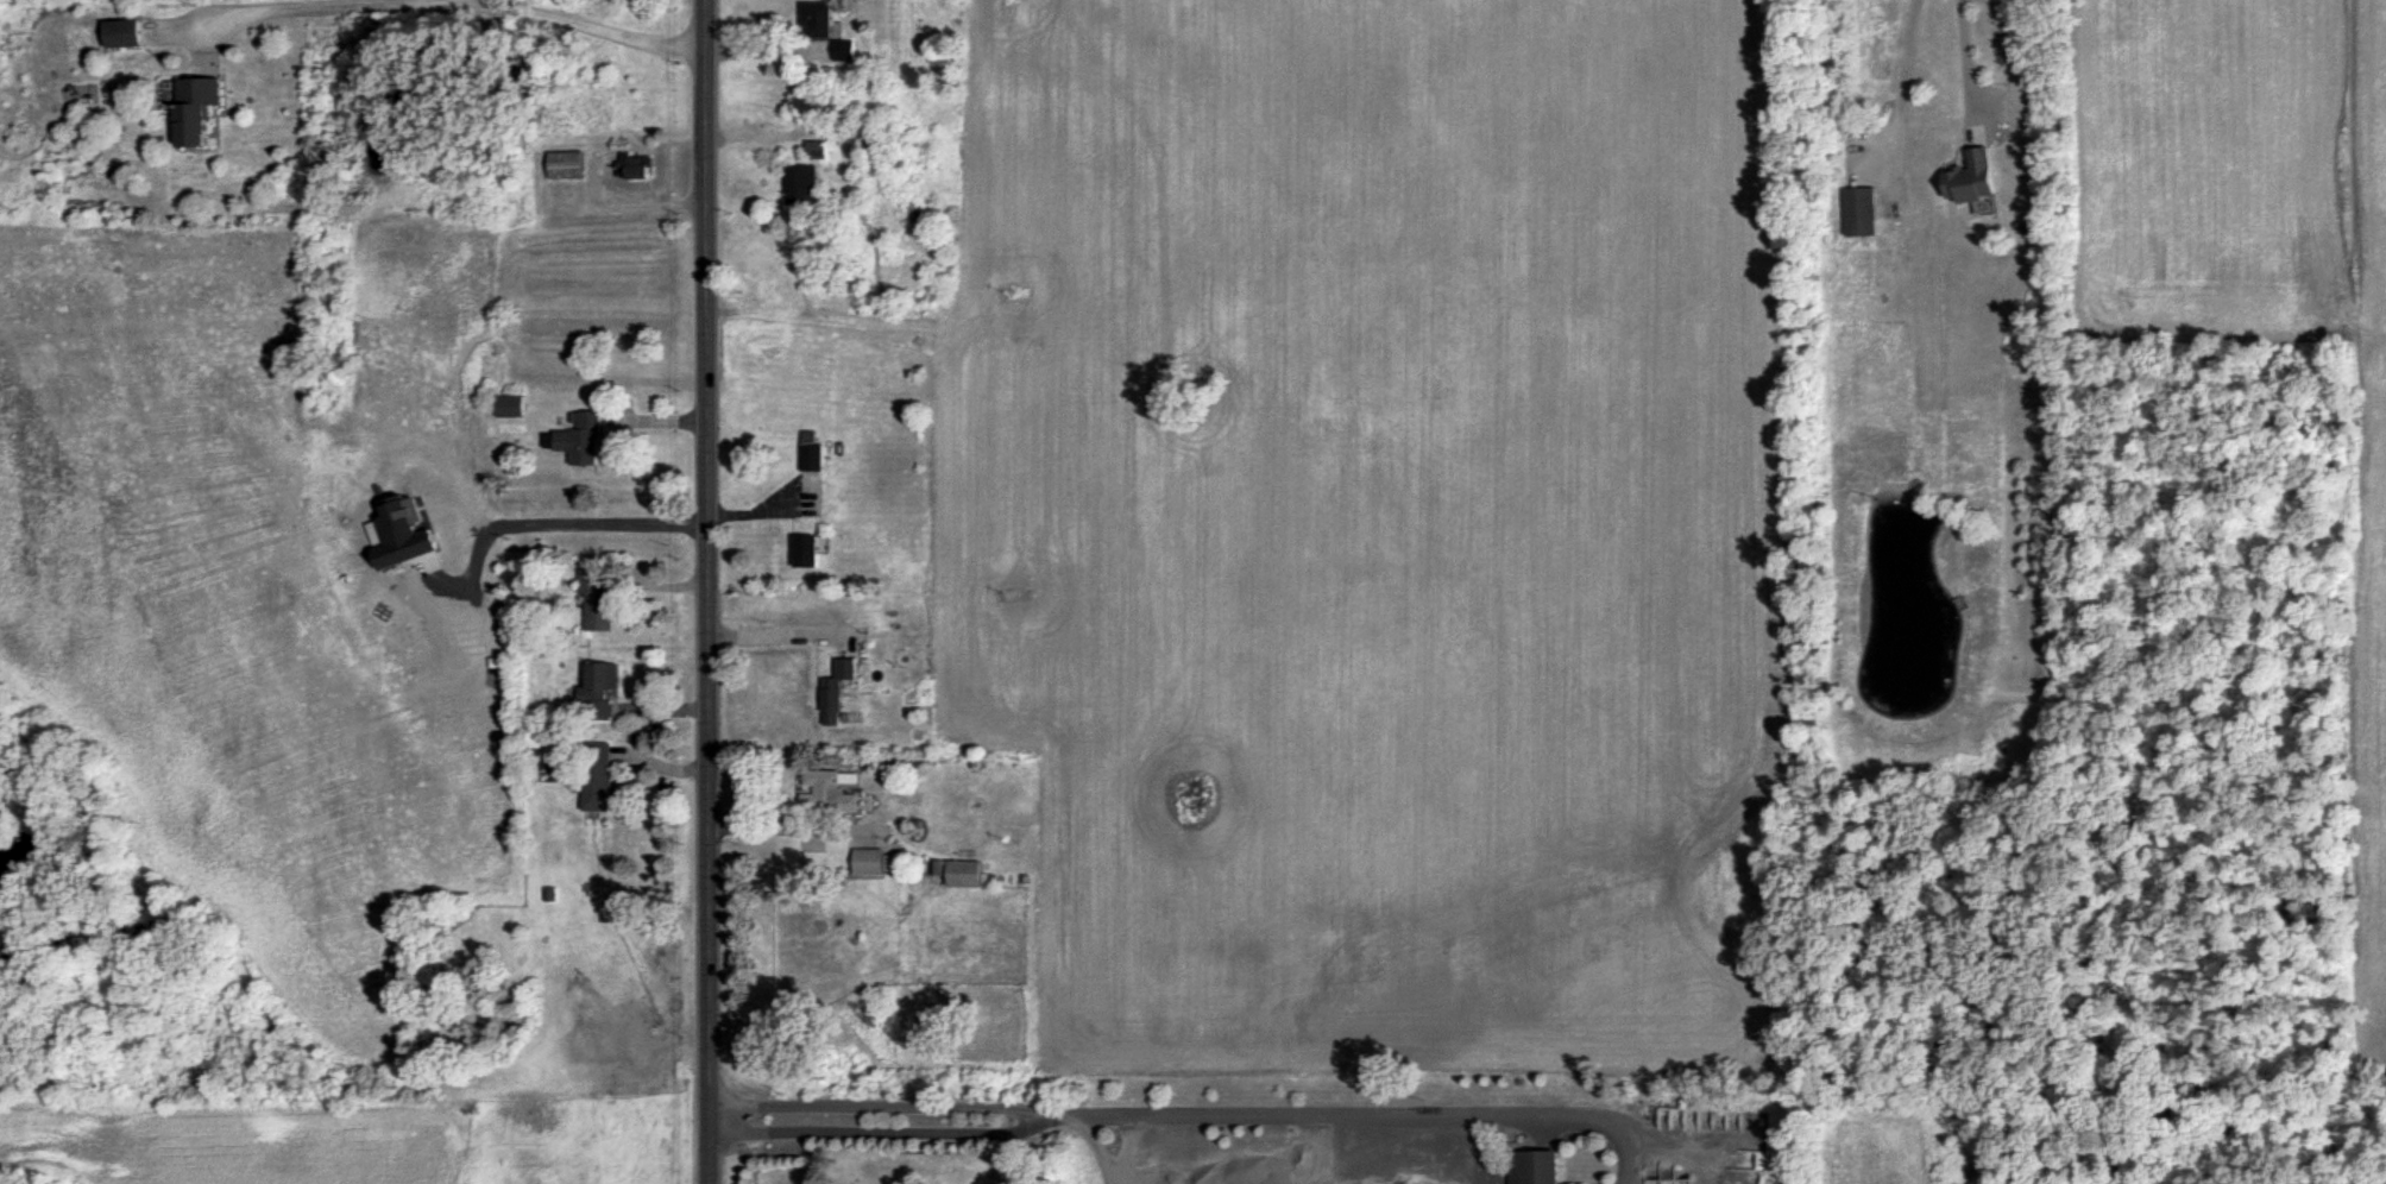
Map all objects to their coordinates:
road: (461, 6)
building: (817, 18)
building: (122, 32)
building: (844, 49)
road: (1965, 64)
road: (1900, 93)
building: (819, 105)
building: (195, 107)
building: (817, 149)
crop: (2203, 163)
building: (566, 164)
building: (634, 165)
building: (1971, 177)
building: (801, 184)
building: (1859, 210)
building: (510, 404)
building: (578, 439)
building: (810, 451)
crop: (1371, 525)
building: (806, 550)
crop: (2372, 552)
road: (710, 591)
building: (596, 600)
road: (786, 632)
building: (600, 688)
building: (836, 689)
building: (597, 775)
building: (827, 791)
road: (797, 827)
building: (868, 861)
building: (963, 873)
road: (1260, 1113)
road: (1556, 1114)
road: (713, 1116)
building: (1534, 1166)

